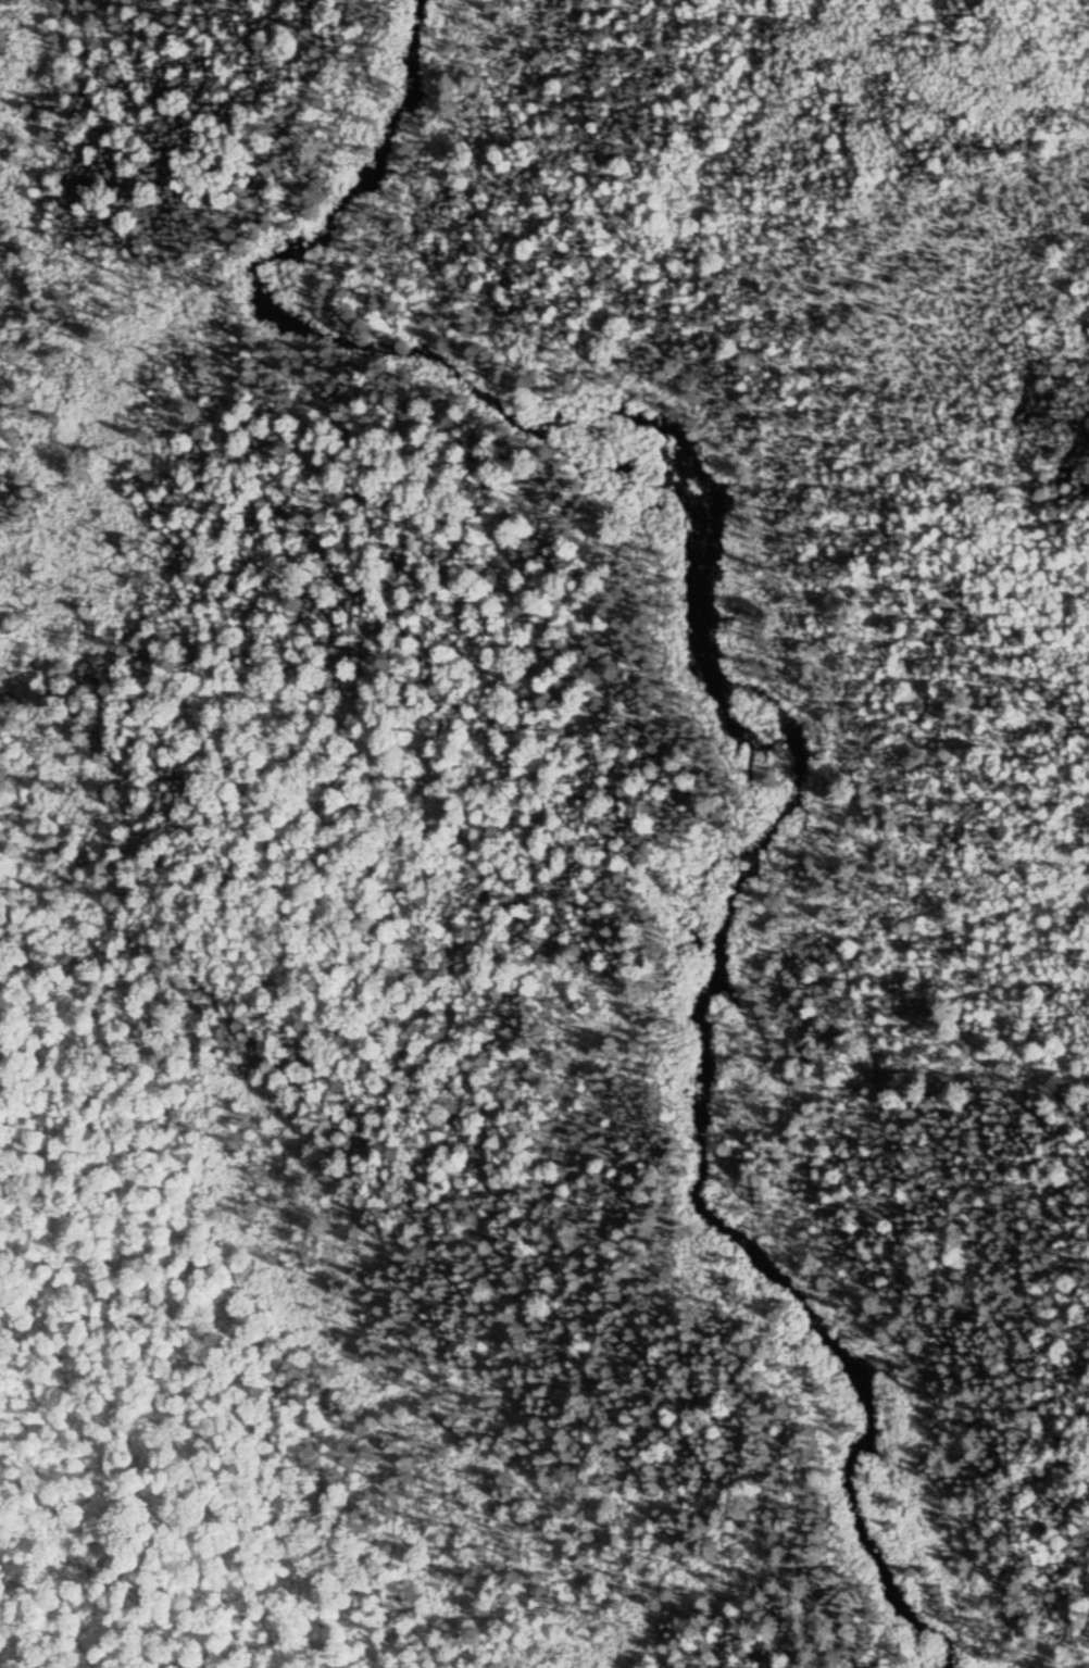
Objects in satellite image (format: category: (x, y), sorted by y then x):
river: (747, 730)

